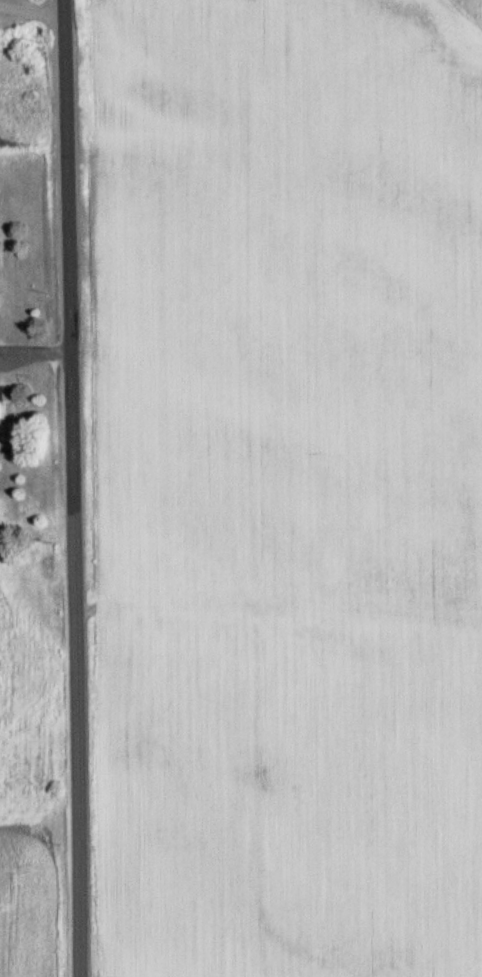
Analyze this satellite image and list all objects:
road: (32, 9)
road: (36, 351)
building: (3, 397)
building: (24, 448)
road: (74, 488)

